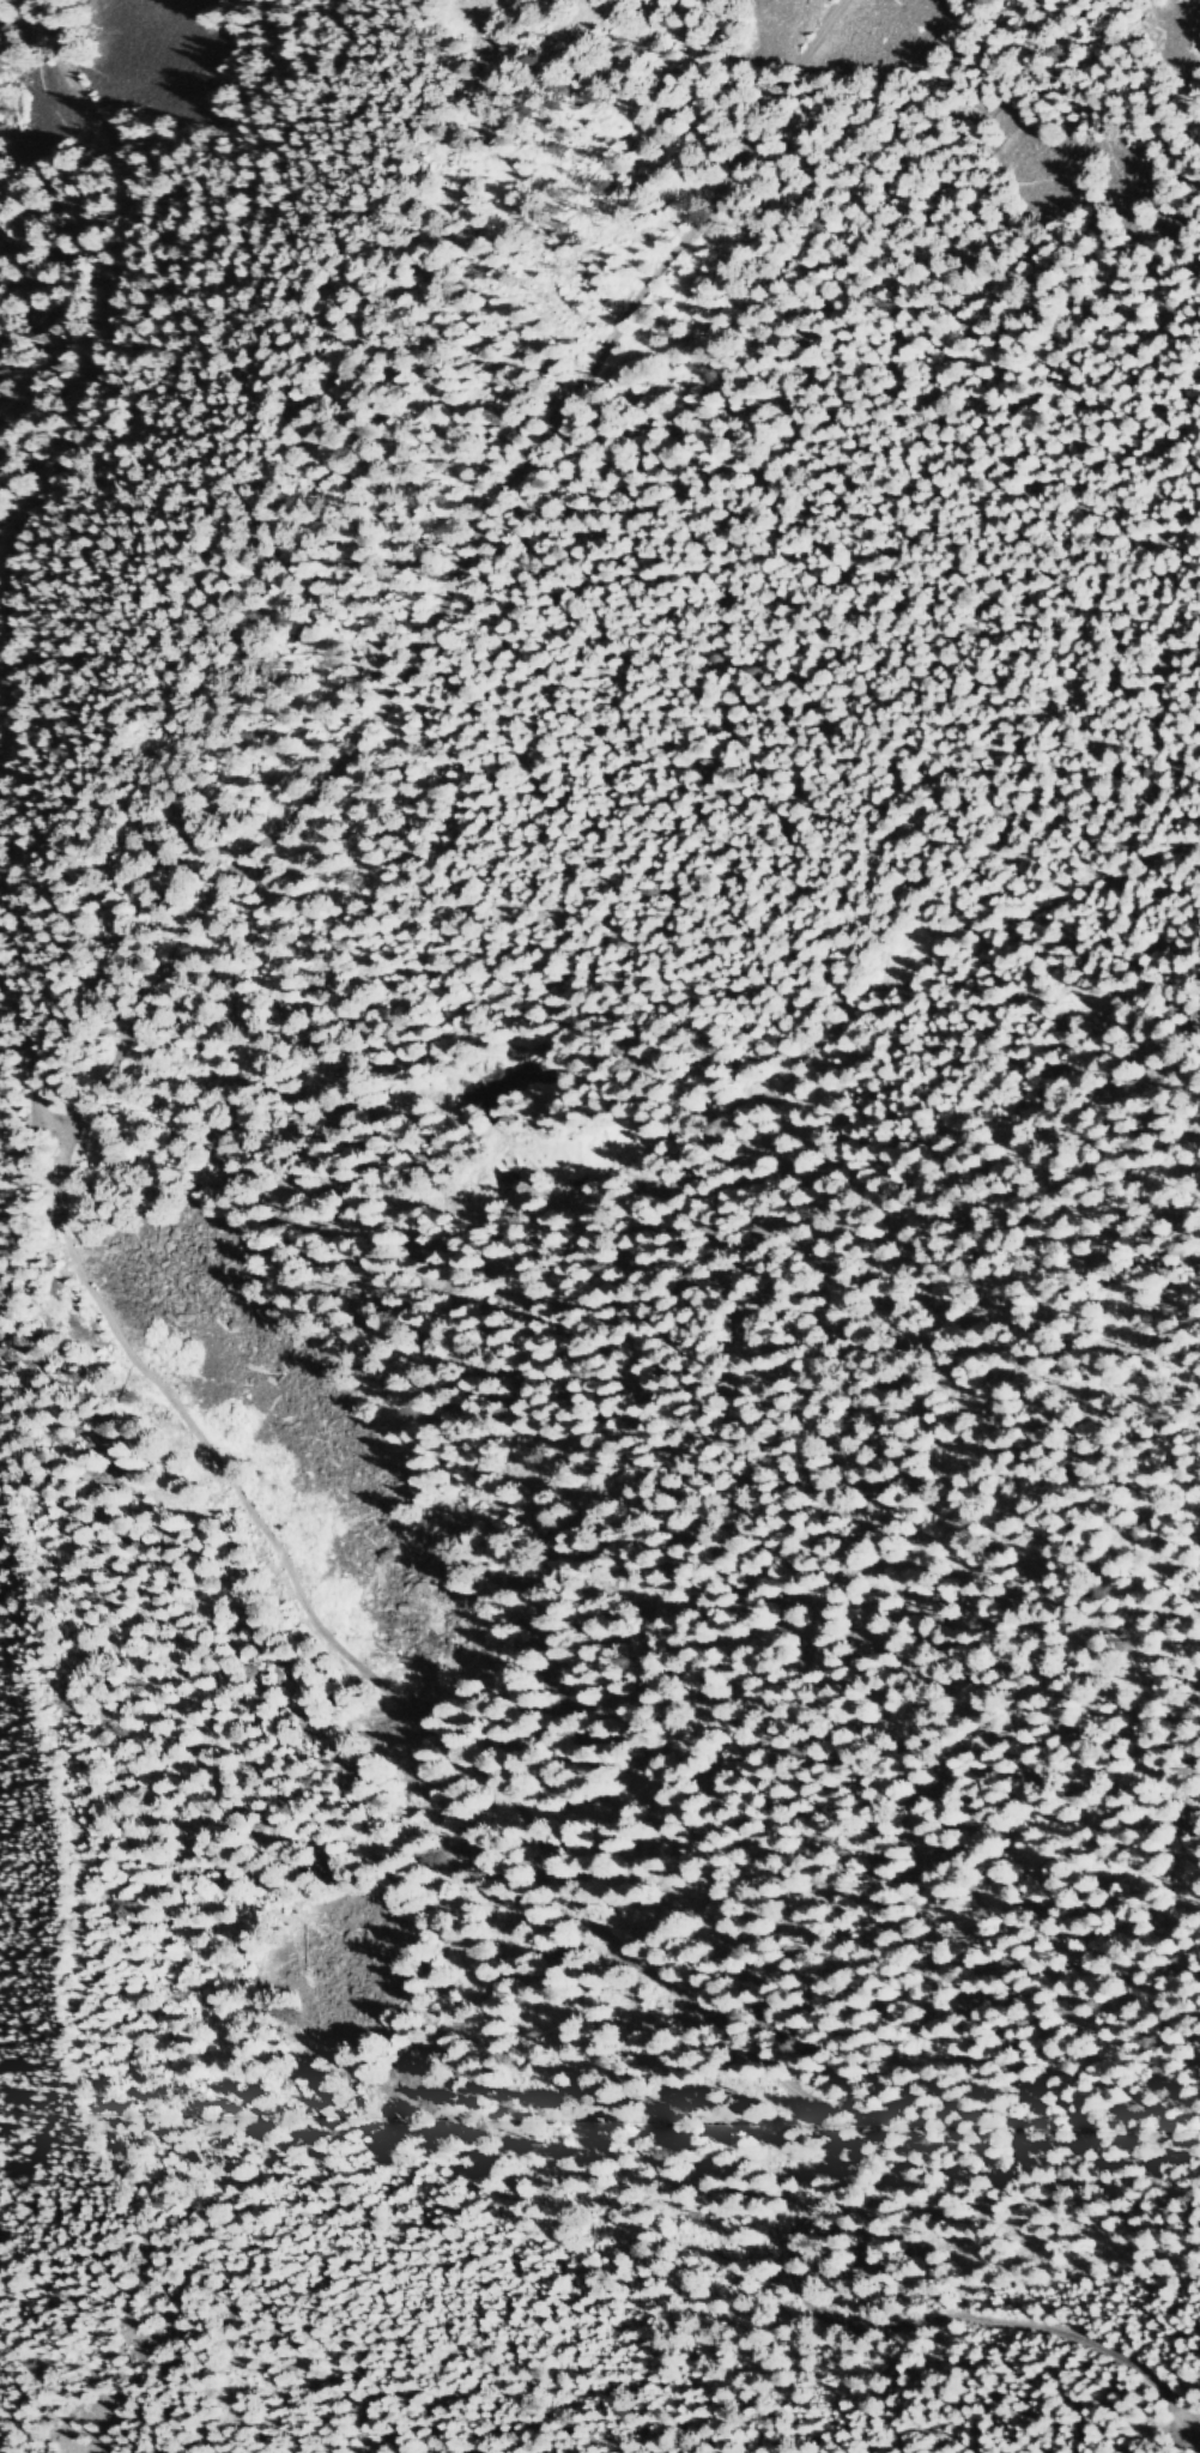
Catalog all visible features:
road: (104, 289)
road: (246, 466)
road: (418, 640)
road: (533, 1432)
road: (587, 1903)

